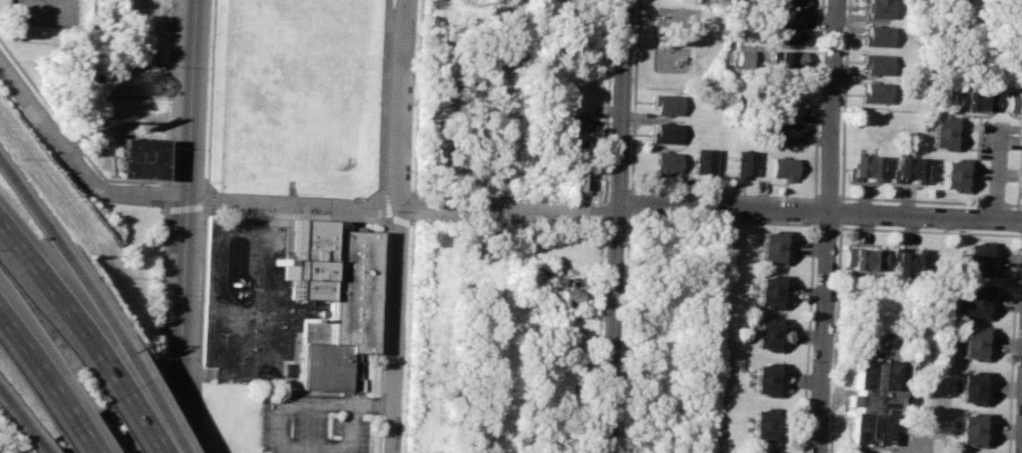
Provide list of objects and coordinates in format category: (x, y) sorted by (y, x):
building: (1003, 1)
building: (955, 2)
road: (47, 7)
building: (792, 7)
building: (881, 8)
parking lot: (47, 12)
building: (671, 15)
building: (789, 32)
building: (879, 36)
building: (792, 60)
building: (878, 62)
building: (876, 92)
building: (973, 99)
building: (1014, 100)
building: (669, 104)
building: (794, 108)
building: (576, 123)
building: (942, 132)
building: (666, 133)
building: (785, 134)
building: (142, 158)
road: (76, 161)
building: (667, 161)
building: (704, 162)
building: (742, 166)
building: (784, 167)
building: (865, 167)
building: (909, 169)
road: (996, 171)
building: (955, 173)
building: (579, 183)
road: (406, 210)
road: (822, 212)
road: (191, 226)
road: (404, 226)
road: (621, 226)
road: (826, 226)
road: (828, 226)
building: (772, 247)
road: (58, 249)
road: (1018, 252)
building: (865, 258)
building: (979, 258)
building: (912, 260)
road: (48, 284)
building: (769, 293)
building: (565, 297)
building: (978, 301)
park: (243, 302)
building: (331, 302)
road: (808, 335)
building: (770, 336)
building: (978, 342)
road: (36, 368)
road: (112, 370)
building: (767, 381)
building: (975, 387)
building: (875, 400)
road: (9, 401)
road: (374, 406)
road: (279, 412)
road: (147, 423)
building: (766, 423)
parking lot: (316, 424)
building: (973, 428)
road: (351, 430)
road: (32, 432)
road: (81, 436)
parking lot: (915, 443)
building: (763, 452)

